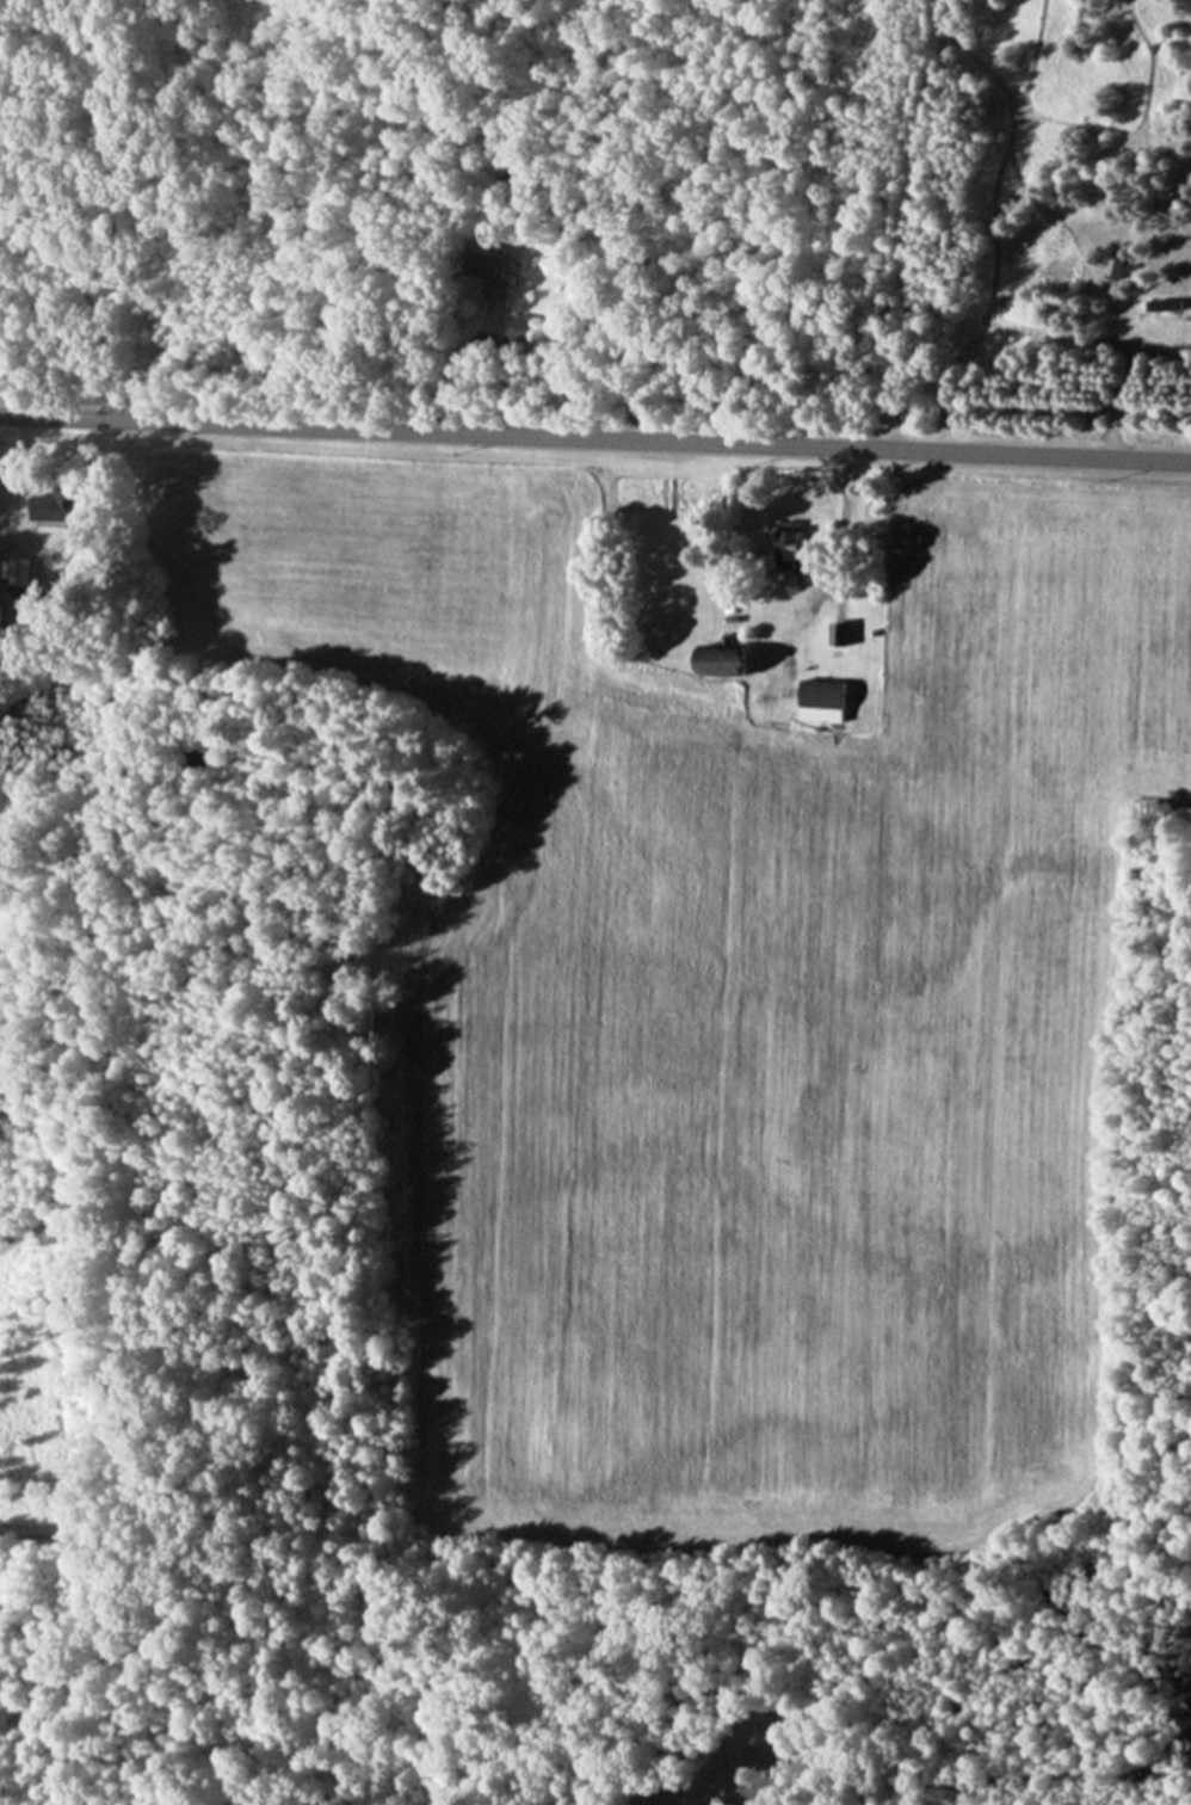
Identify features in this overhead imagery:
road: (595, 439)
road: (17, 472)
building: (72, 503)
road: (839, 513)
building: (789, 536)
building: (16, 573)
building: (826, 694)

